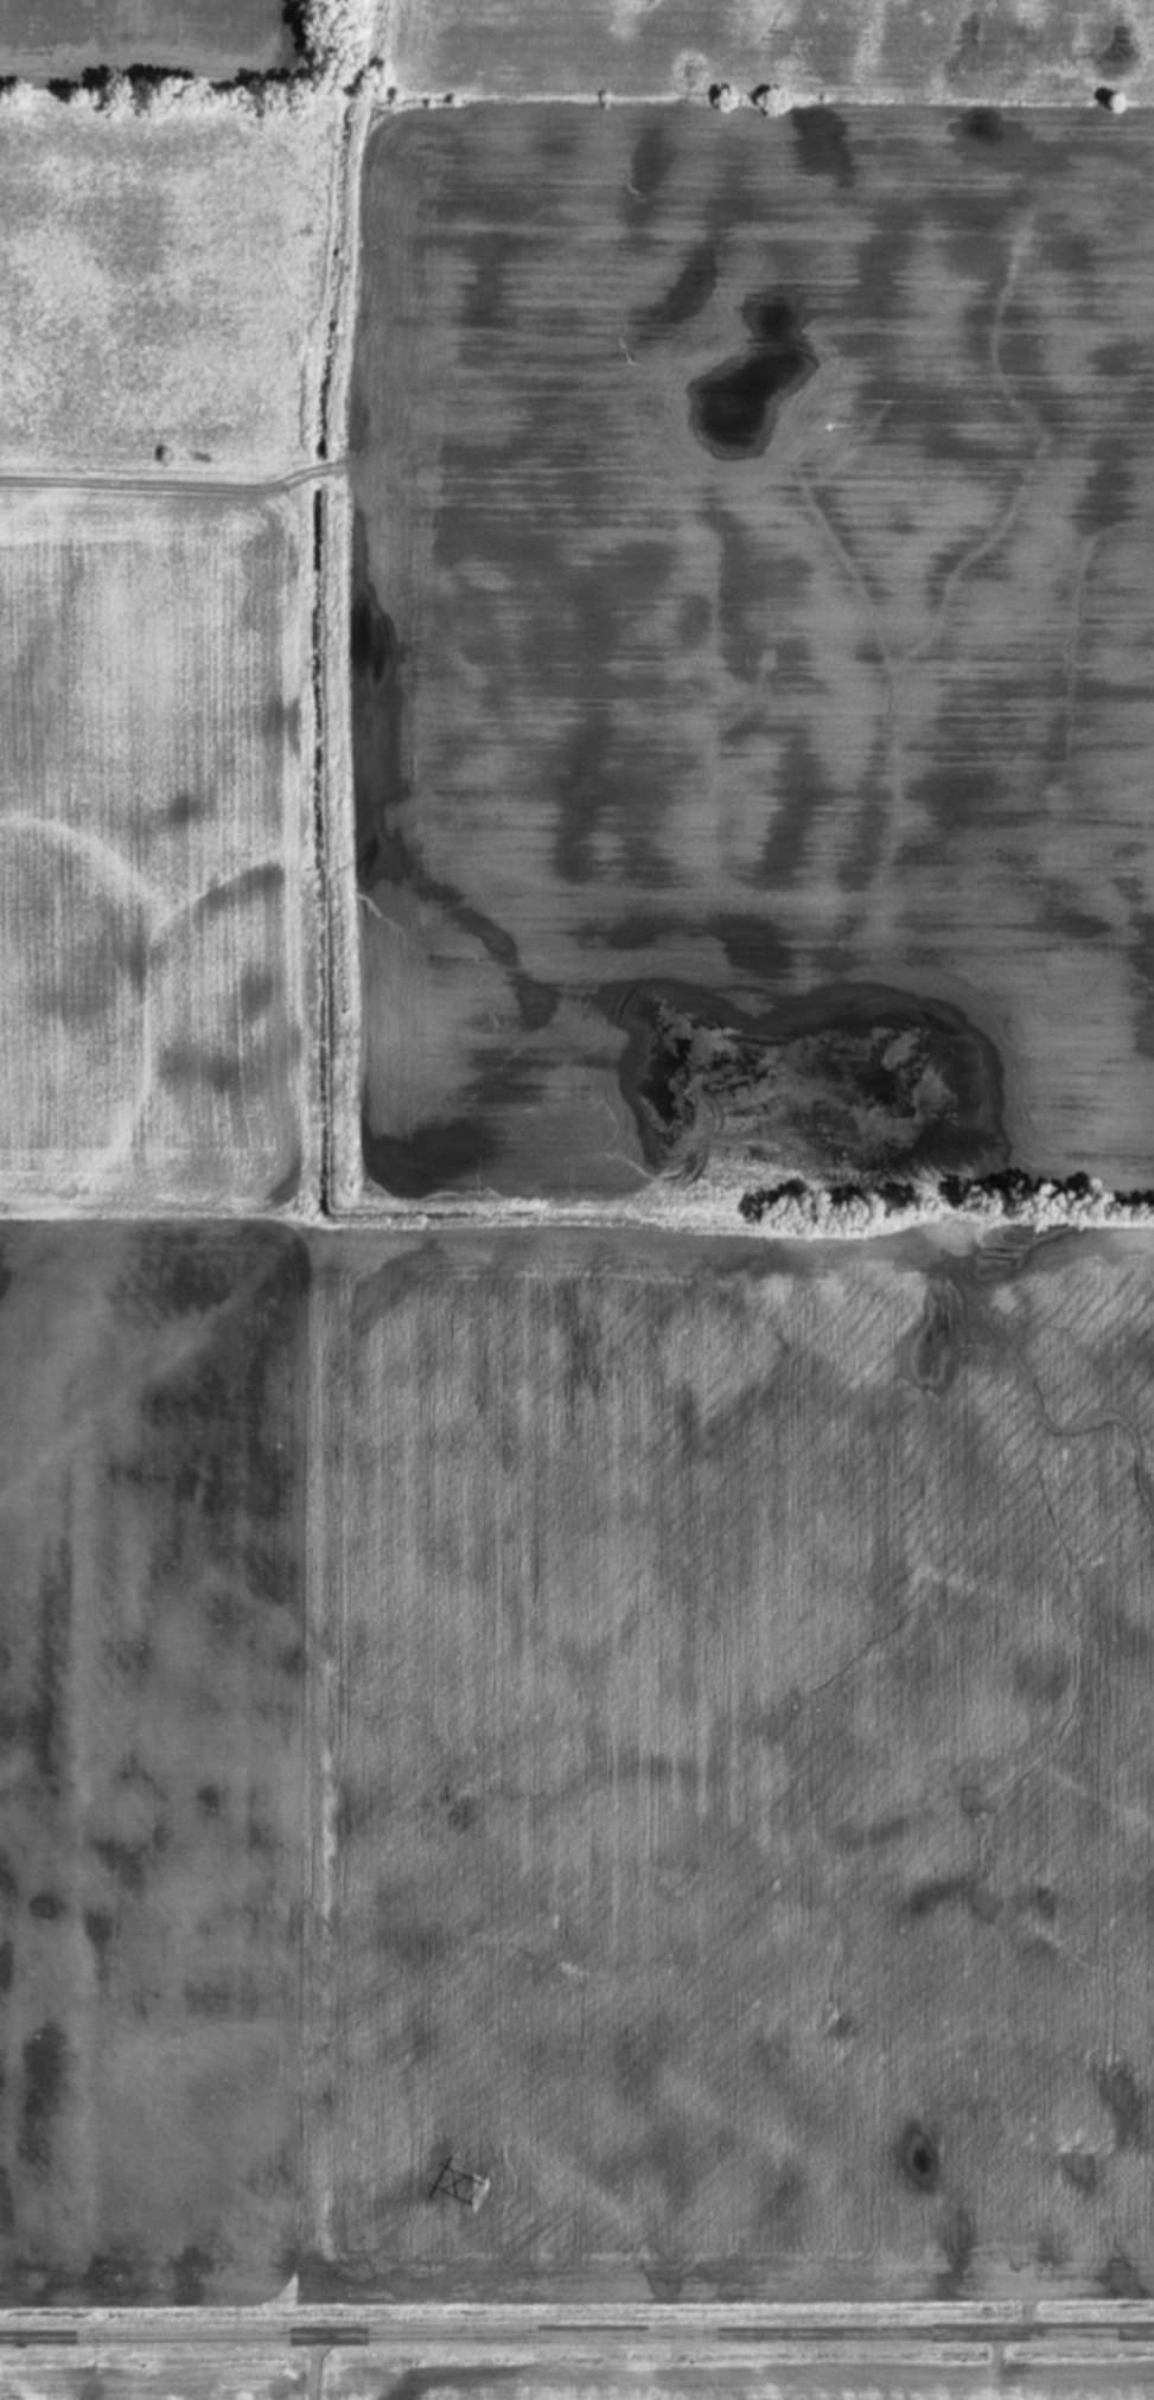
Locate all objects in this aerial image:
power tower: (480, 2192)
road: (576, 2332)
road: (314, 2367)

